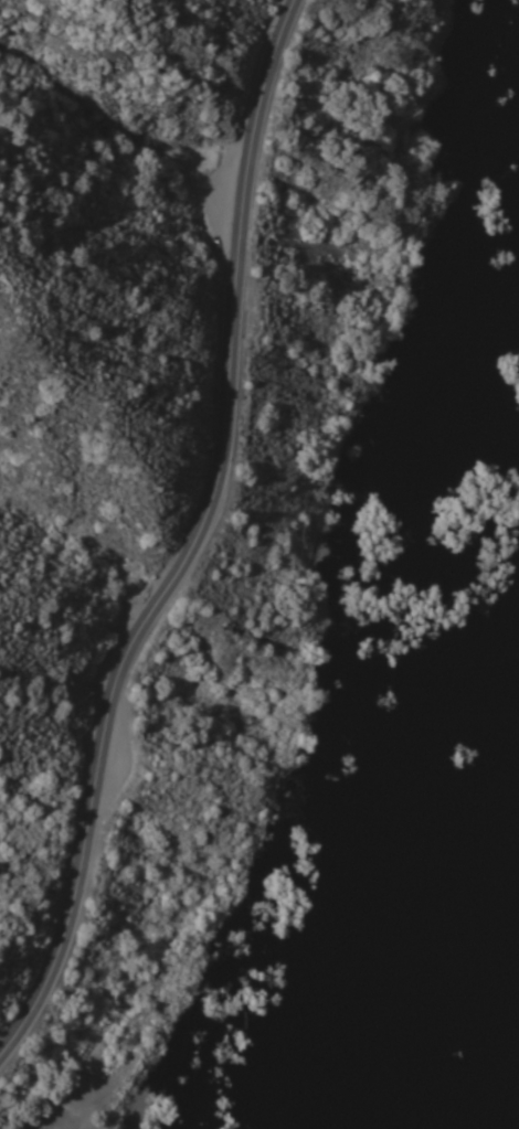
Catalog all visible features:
road: (194, 542)

